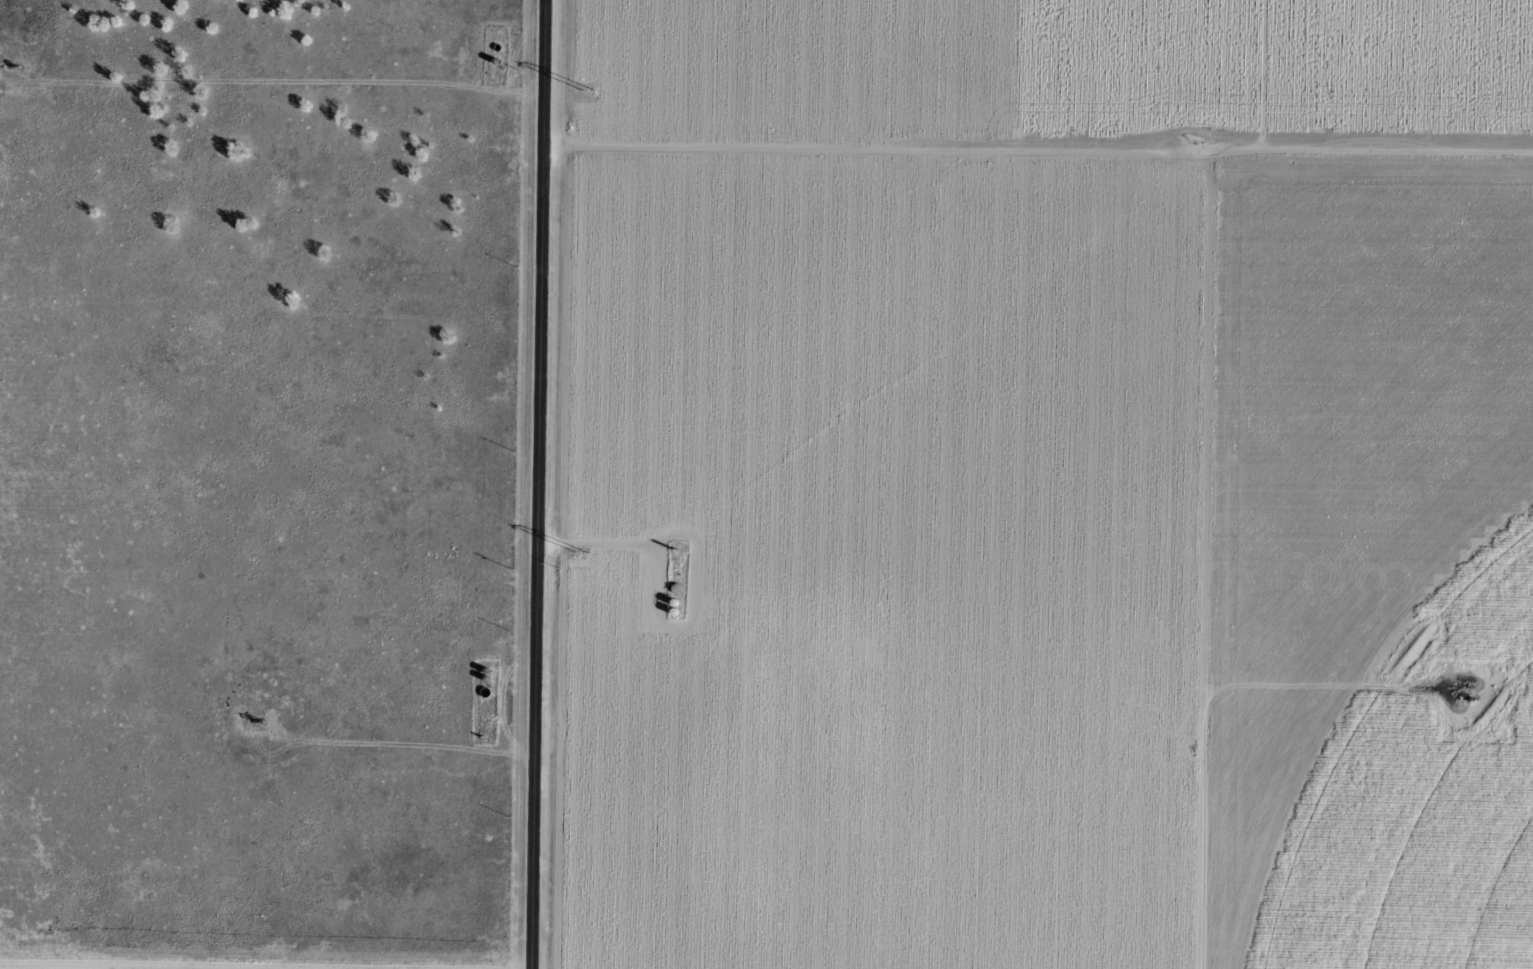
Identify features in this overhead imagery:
petroleum well: (13, 69)
power tower: (590, 91)
road: (1045, 183)
road: (549, 484)
power tower: (582, 553)
road: (1181, 577)
petroleum well: (1473, 698)
petroleum well: (254, 720)

